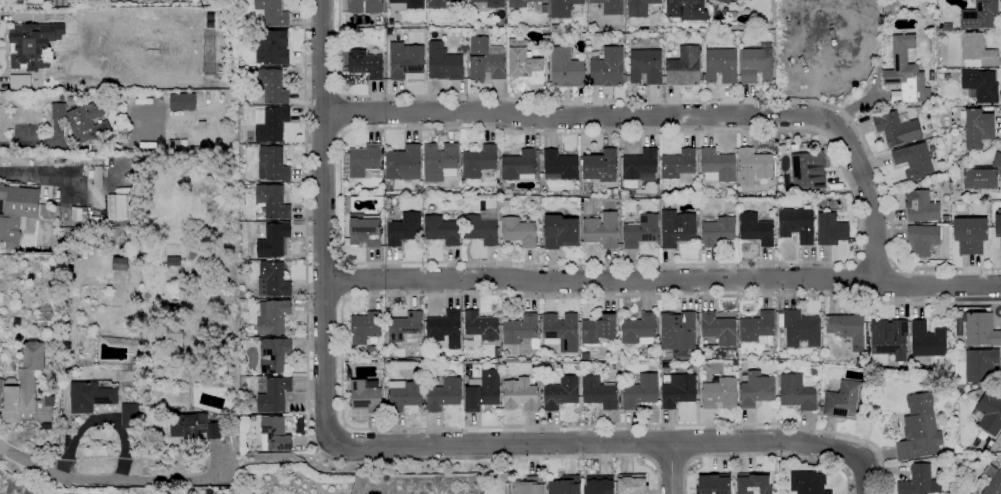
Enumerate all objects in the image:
building: (343, 2)
building: (725, 2)
building: (439, 3)
building: (491, 3)
building: (520, 3)
building: (834, 3)
building: (405, 4)
building: (365, 6)
building: (610, 6)
building: (563, 7)
building: (544, 8)
building: (639, 8)
building: (686, 10)
building: (725, 10)
building: (273, 12)
building: (980, 15)
building: (461, 26)
building: (840, 27)
building: (390, 32)
building: (620, 37)
building: (32, 45)
building: (272, 47)
building: (976, 51)
building: (405, 60)
building: (485, 60)
building: (443, 63)
building: (365, 64)
building: (721, 65)
building: (756, 65)
building: (525, 66)
building: (606, 67)
building: (645, 67)
building: (683, 67)
building: (565, 69)
building: (547, 72)
building: (905, 74)
building: (931, 75)
building: (20, 82)
building: (951, 83)
building: (273, 86)
building: (981, 86)
road: (324, 91)
road: (322, 97)
road: (684, 99)
building: (182, 102)
road: (343, 113)
road: (663, 115)
building: (945, 117)
building: (82, 120)
building: (273, 124)
building: (896, 128)
building: (944, 128)
building: (978, 129)
road: (324, 131)
road: (21, 142)
building: (794, 148)
building: (363, 160)
building: (479, 161)
building: (914, 161)
building: (439, 162)
building: (274, 163)
building: (404, 164)
building: (639, 164)
building: (559, 165)
building: (518, 166)
building: (600, 166)
building: (679, 166)
building: (716, 166)
building: (753, 166)
building: (808, 170)
road: (38, 175)
building: (982, 175)
building: (833, 187)
building: (611, 194)
building: (816, 198)
building: (272, 201)
building: (117, 207)
building: (920, 207)
building: (16, 212)
building: (945, 218)
building: (797, 224)
building: (675, 226)
building: (998, 226)
building: (481, 227)
building: (404, 229)
building: (755, 229)
building: (364, 230)
building: (441, 230)
building: (601, 230)
building: (717, 230)
building: (830, 230)
building: (640, 231)
building: (518, 232)
building: (560, 232)
building: (970, 235)
road: (323, 237)
building: (922, 239)
building: (273, 240)
road: (324, 250)
road: (874, 260)
road: (844, 263)
building: (273, 279)
road: (344, 279)
road: (662, 280)
road: (860, 280)
road: (896, 285)
road: (325, 298)
building: (272, 316)
road: (342, 324)
building: (364, 327)
building: (480, 327)
building: (718, 328)
building: (758, 328)
building: (405, 329)
building: (444, 329)
building: (520, 329)
building: (598, 329)
building: (639, 329)
building: (800, 329)
building: (847, 329)
building: (981, 330)
building: (678, 331)
building: (560, 332)
building: (951, 332)
building: (889, 338)
building: (927, 341)
building: (867, 347)
building: (387, 349)
building: (497, 352)
building: (505, 353)
building: (274, 354)
road: (324, 358)
building: (980, 365)
building: (613, 367)
building: (815, 375)
building: (974, 386)
building: (756, 389)
building: (28, 390)
building: (677, 390)
building: (482, 391)
building: (640, 391)
building: (796, 392)
building: (561, 393)
building: (599, 393)
building: (274, 394)
building: (720, 394)
building: (404, 395)
building: (444, 395)
building: (520, 395)
building: (91, 396)
building: (365, 397)
building: (821, 397)
building: (844, 401)
building: (820, 409)
building: (989, 412)
road: (307, 413)
building: (131, 415)
building: (193, 426)
building: (919, 429)
building: (276, 433)
road: (652, 442)
road: (687, 442)
road: (611, 443)
road: (762, 455)
road: (672, 467)
road: (671, 468)
road: (106, 481)
building: (919, 481)
building: (992, 481)
building: (753, 483)
building: (808, 483)
building: (713, 484)
building: (529, 485)
building: (565, 485)
building: (600, 486)
building: (632, 486)

